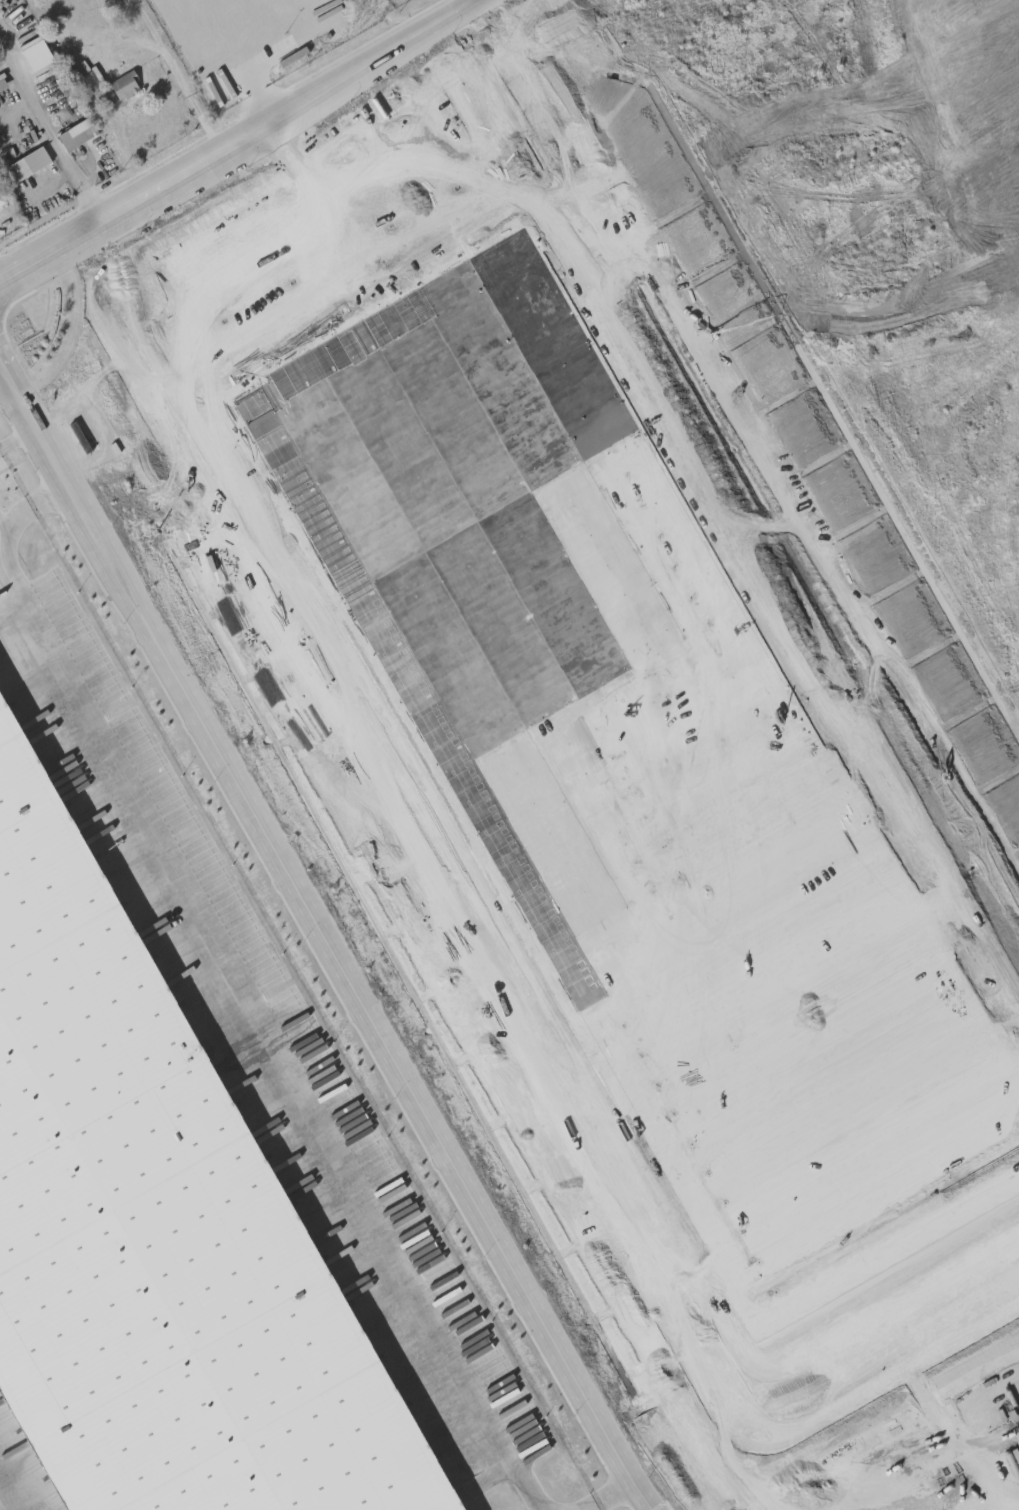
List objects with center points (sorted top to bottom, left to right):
road: (839, 58)
road: (173, 74)
road: (25, 90)
building: (120, 91)
building: (79, 136)
road: (237, 139)
road: (384, 143)
building: (29, 167)
road: (76, 179)
building: (3, 199)
road: (314, 204)
road: (223, 237)
road: (333, 260)
road: (849, 304)
road: (245, 353)
road: (22, 381)
road: (34, 427)
road: (12, 439)
road: (750, 471)
road: (67, 486)
road: (31, 507)
road: (72, 515)
road: (100, 526)
road: (487, 966)
road: (260, 1020)
road: (398, 1072)
building: (158, 1228)
road: (606, 1498)

